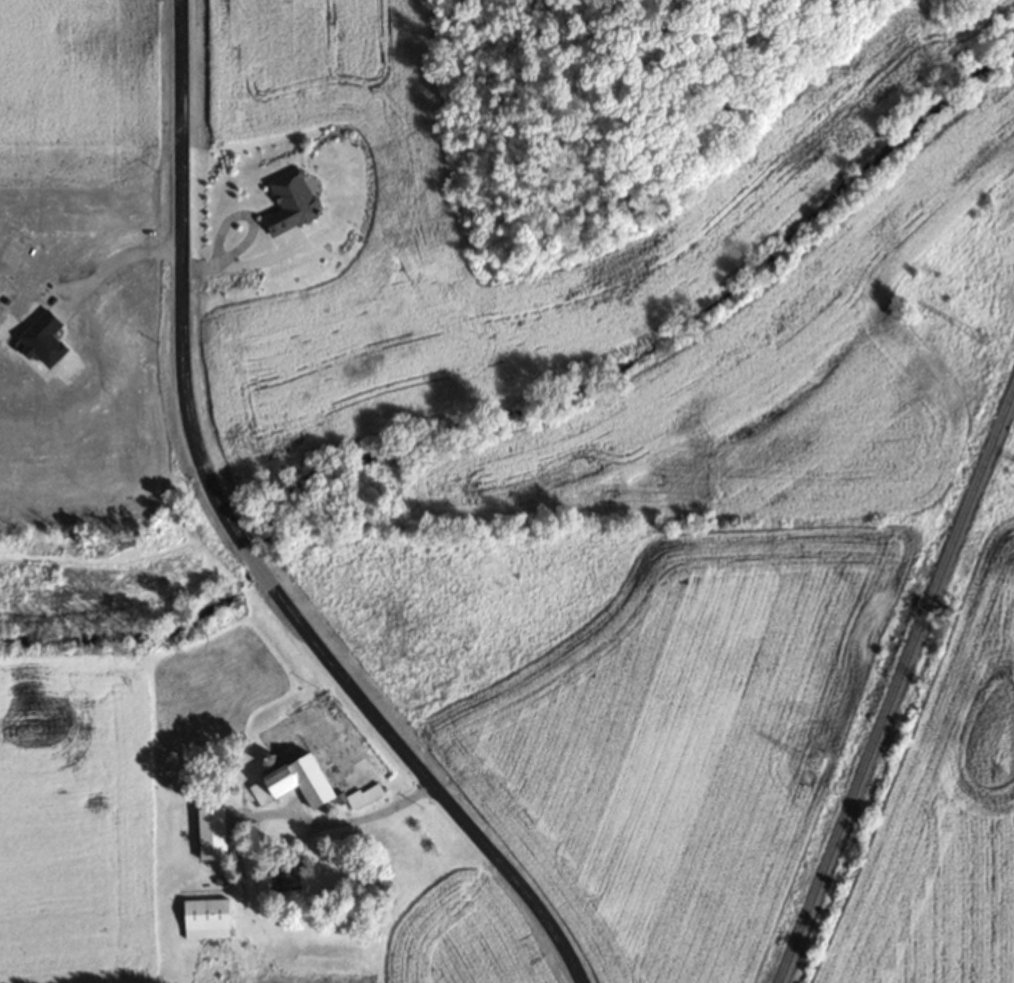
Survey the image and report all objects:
road: (112, 260)
road: (181, 283)
road: (254, 563)
railway: (898, 691)
road: (423, 776)
building: (306, 784)
road: (299, 817)
building: (209, 832)
building: (286, 877)
building: (204, 917)

